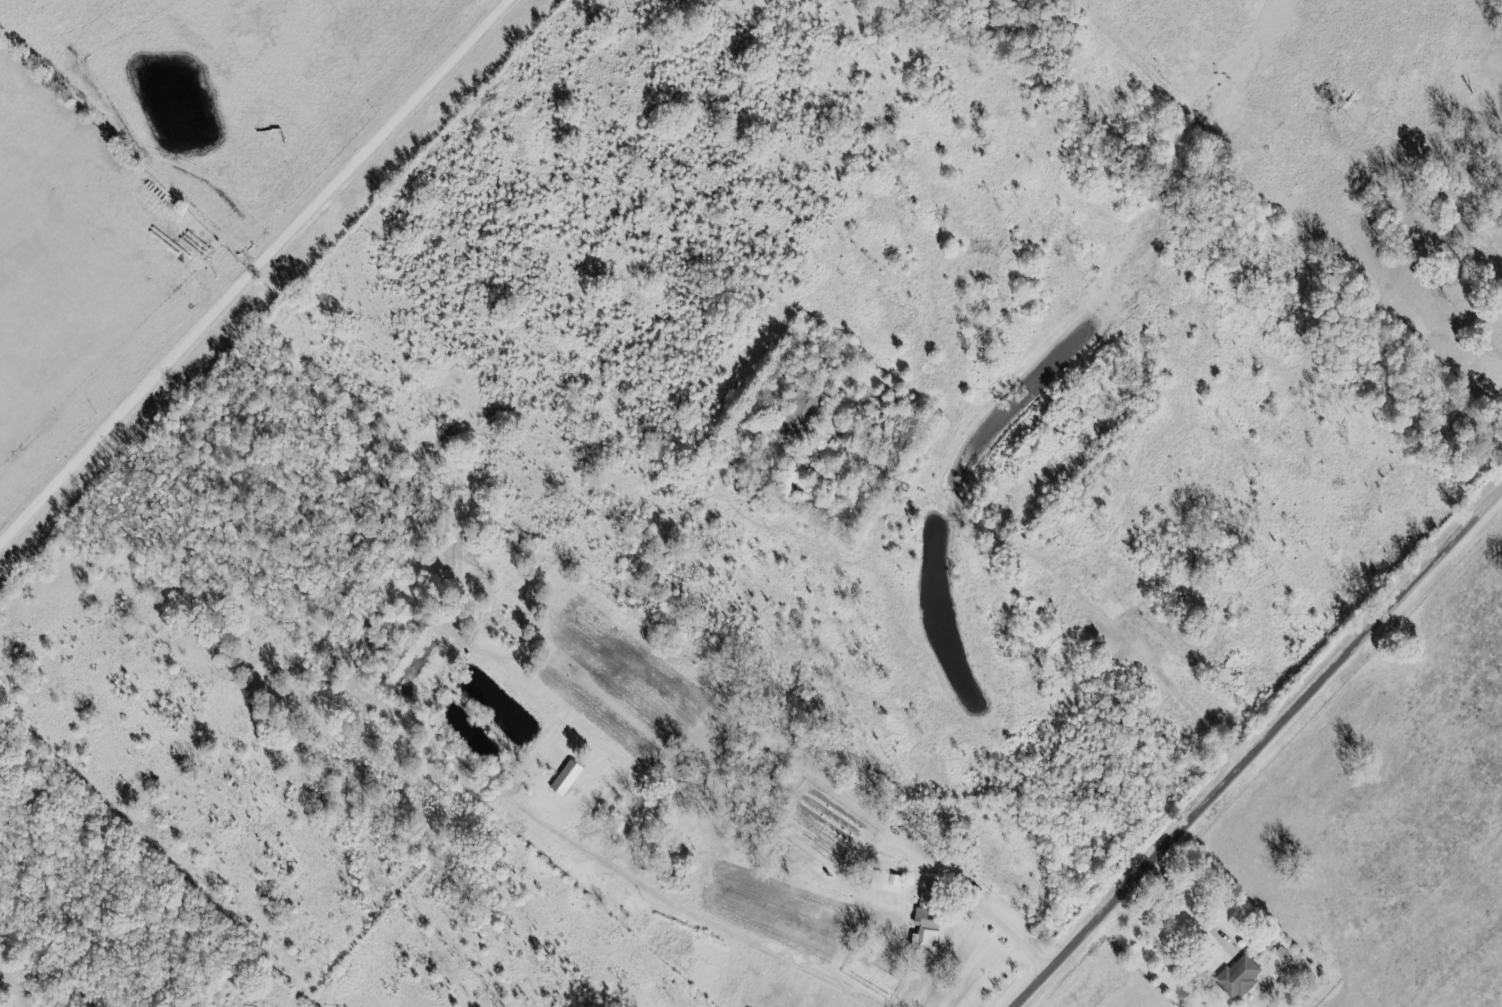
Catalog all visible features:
road: (257, 275)
road: (1055, 575)
road: (1261, 749)
building: (566, 777)
building: (887, 882)
building: (925, 922)
road: (1007, 922)
building: (1239, 976)

